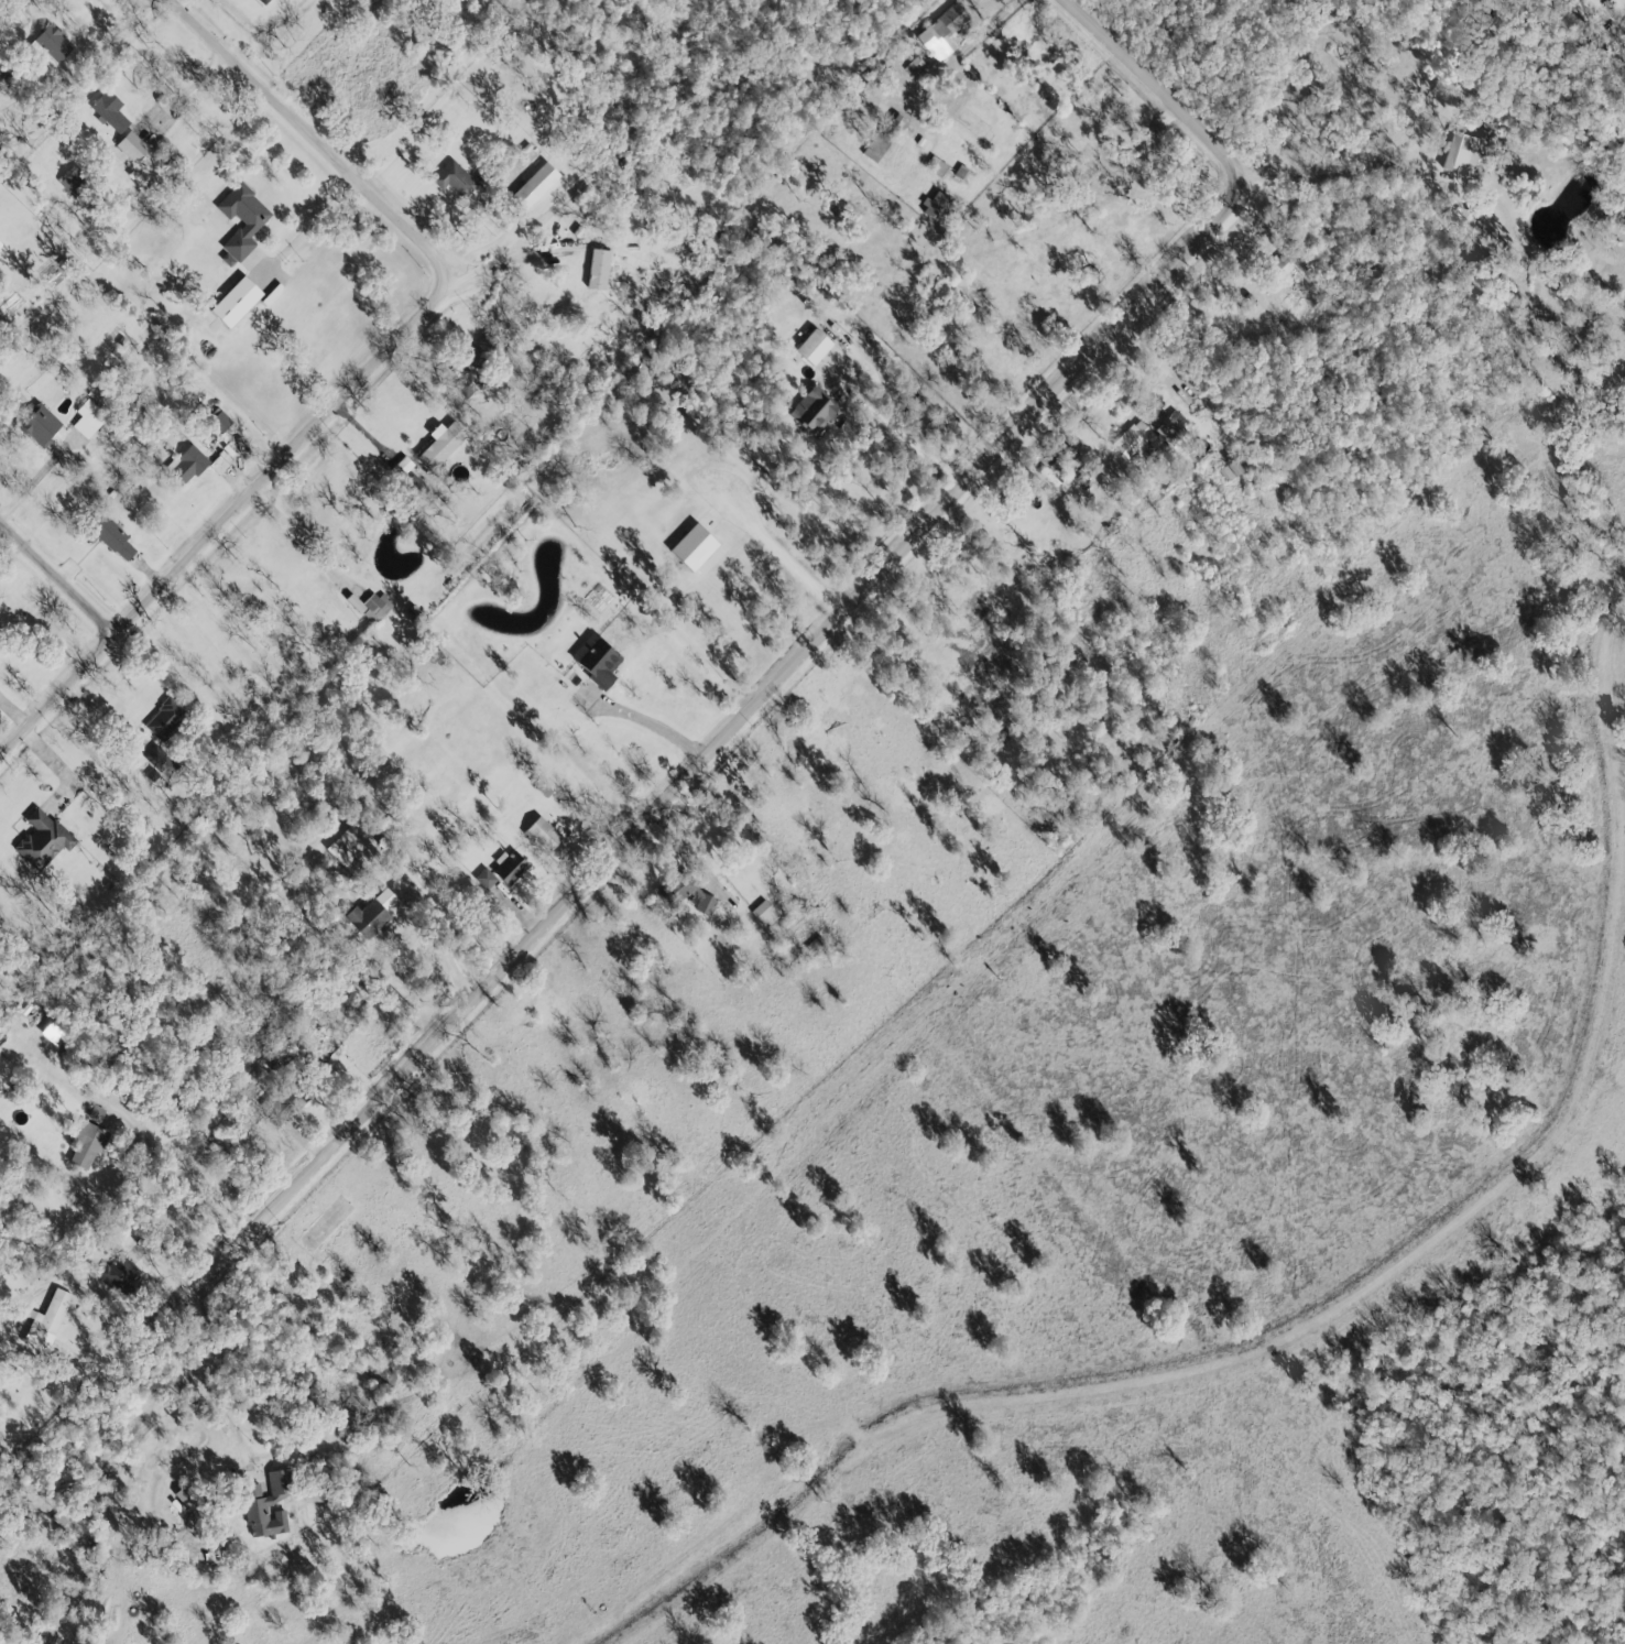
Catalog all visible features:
building: (265, 1)
building: (944, 32)
building: (54, 44)
building: (4, 65)
building: (110, 111)
building: (903, 123)
road: (312, 138)
building: (877, 145)
building: (133, 148)
building: (1465, 154)
building: (937, 166)
building: (456, 179)
building: (75, 183)
building: (537, 186)
building: (938, 206)
building: (247, 230)
building: (1, 244)
road: (502, 262)
building: (1283, 266)
building: (599, 270)
building: (238, 302)
building: (816, 347)
building: (482, 351)
building: (468, 384)
building: (815, 411)
building: (89, 420)
building: (221, 423)
building: (41, 426)
building: (1149, 436)
building: (443, 444)
building: (198, 462)
building: (402, 467)
building: (1232, 471)
road: (227, 523)
building: (113, 540)
building: (696, 547)
road: (57, 581)
building: (372, 607)
building: (0, 632)
building: (599, 662)
road: (777, 684)
building: (165, 719)
road: (659, 722)
building: (160, 760)
building: (544, 835)
building: (43, 839)
building: (348, 845)
building: (510, 867)
building: (487, 881)
building: (695, 892)
building: (663, 894)
building: (764, 913)
building: (373, 914)
road: (441, 934)
road: (41, 1056)
building: (87, 1144)
building: (119, 1272)
building: (47, 1322)
road: (219, 1398)
building: (185, 1498)
building: (270, 1506)

